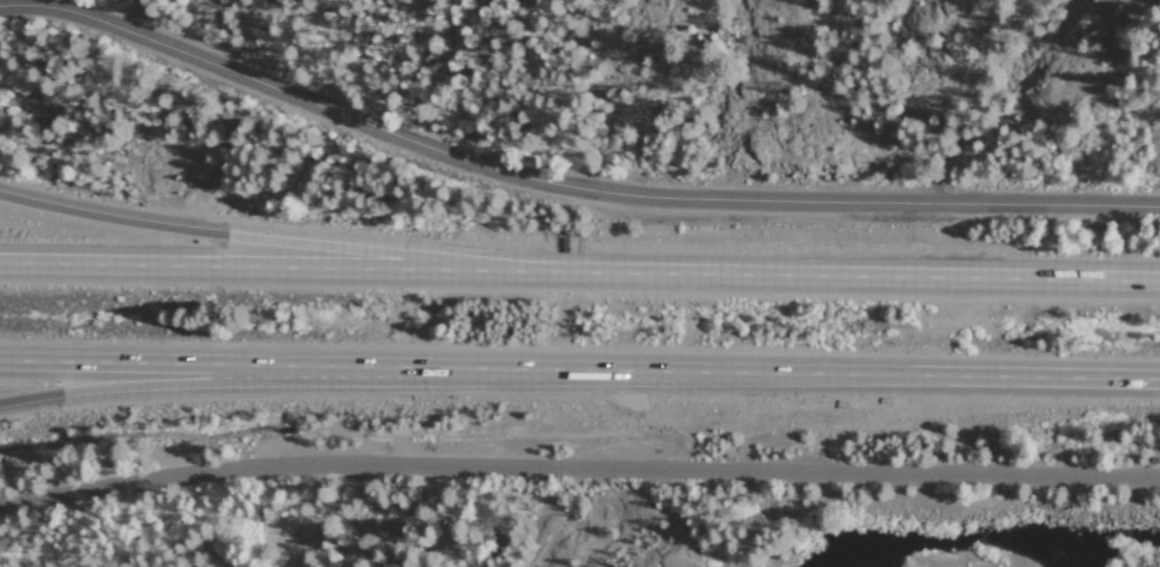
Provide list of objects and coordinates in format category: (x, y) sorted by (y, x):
road: (148, 18)
road: (564, 185)
road: (270, 239)
road: (579, 271)
road: (579, 374)
road: (168, 387)
road: (578, 466)
river: (781, 472)
river: (957, 503)
road: (324, 561)

